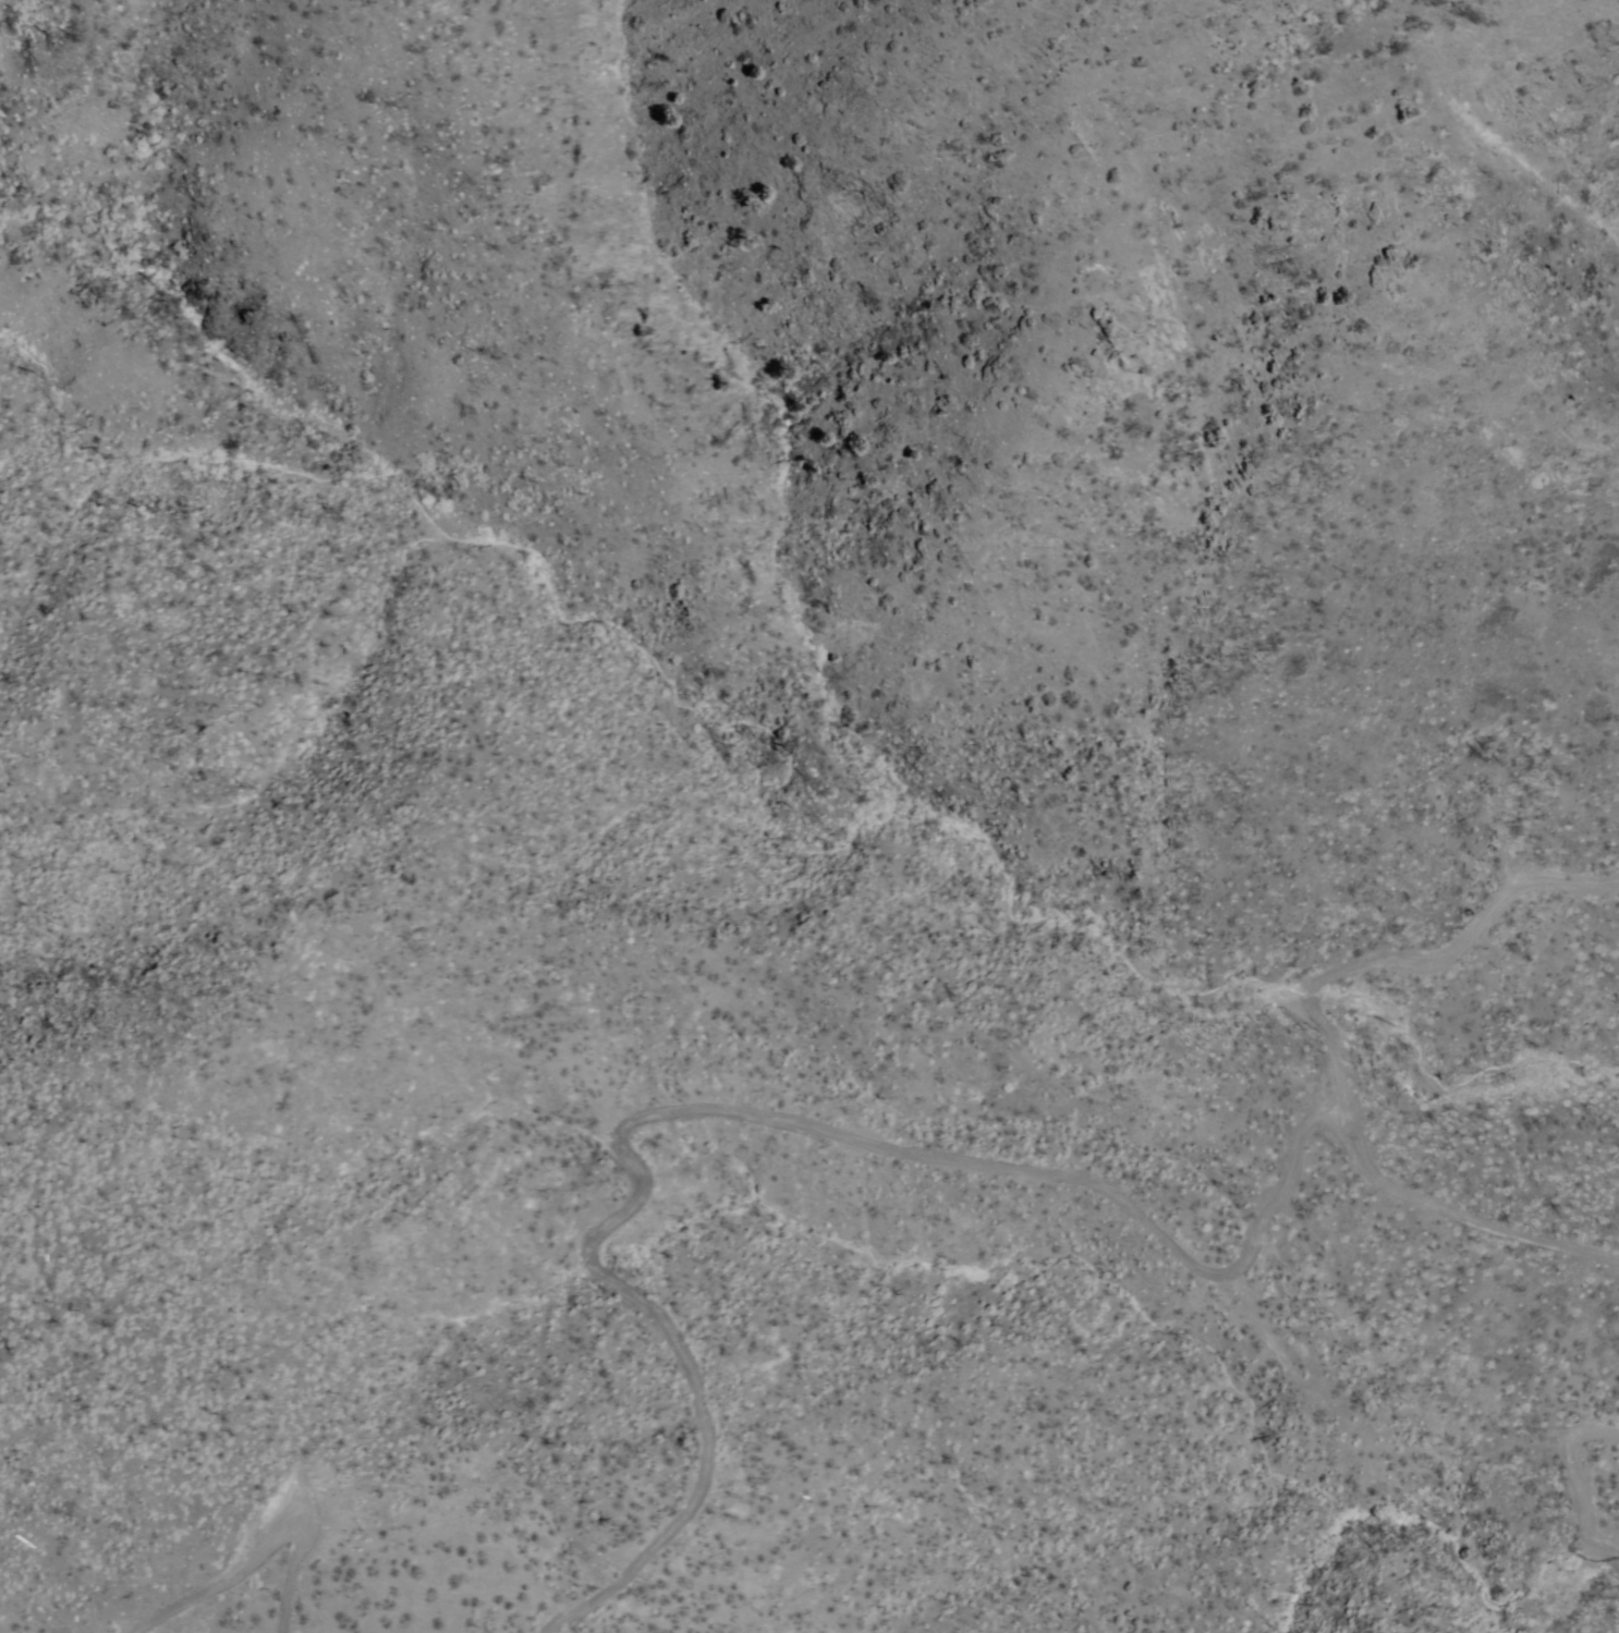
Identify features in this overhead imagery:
road: (1472, 935)
road: (930, 1151)
road: (1401, 1183)
road: (1585, 1474)
road: (691, 1480)
road: (255, 1556)

